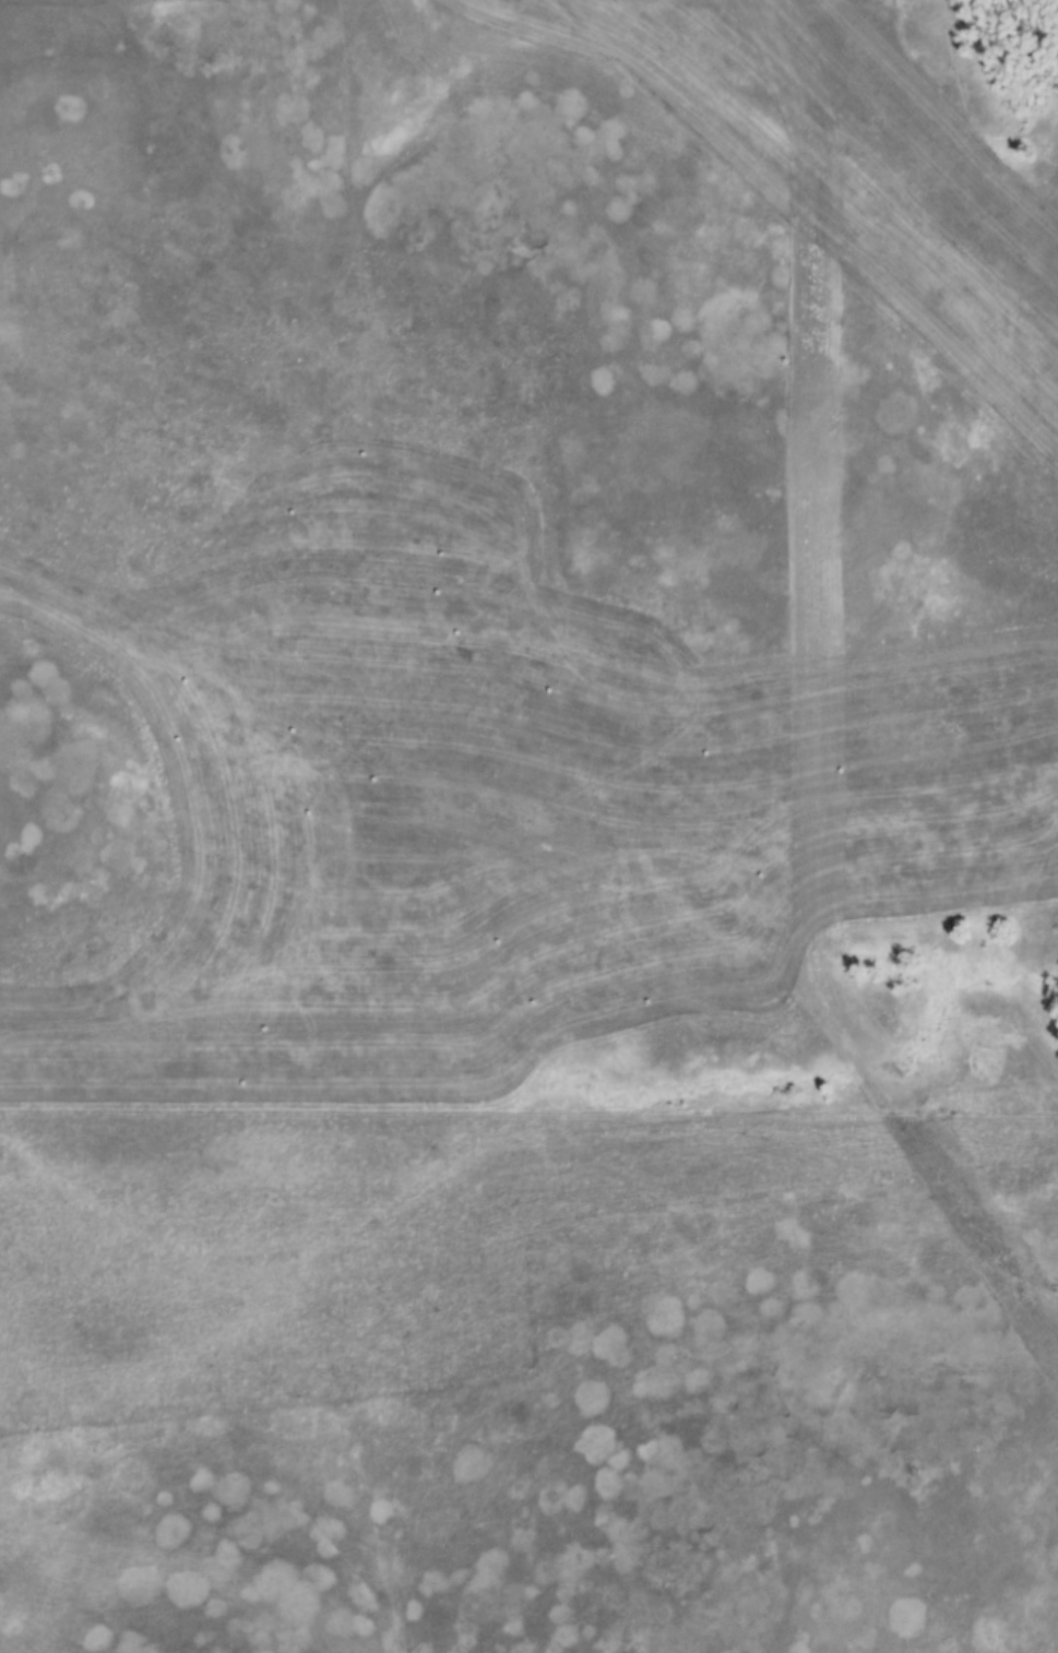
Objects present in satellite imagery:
road: (805, 241)
road: (1041, 954)

